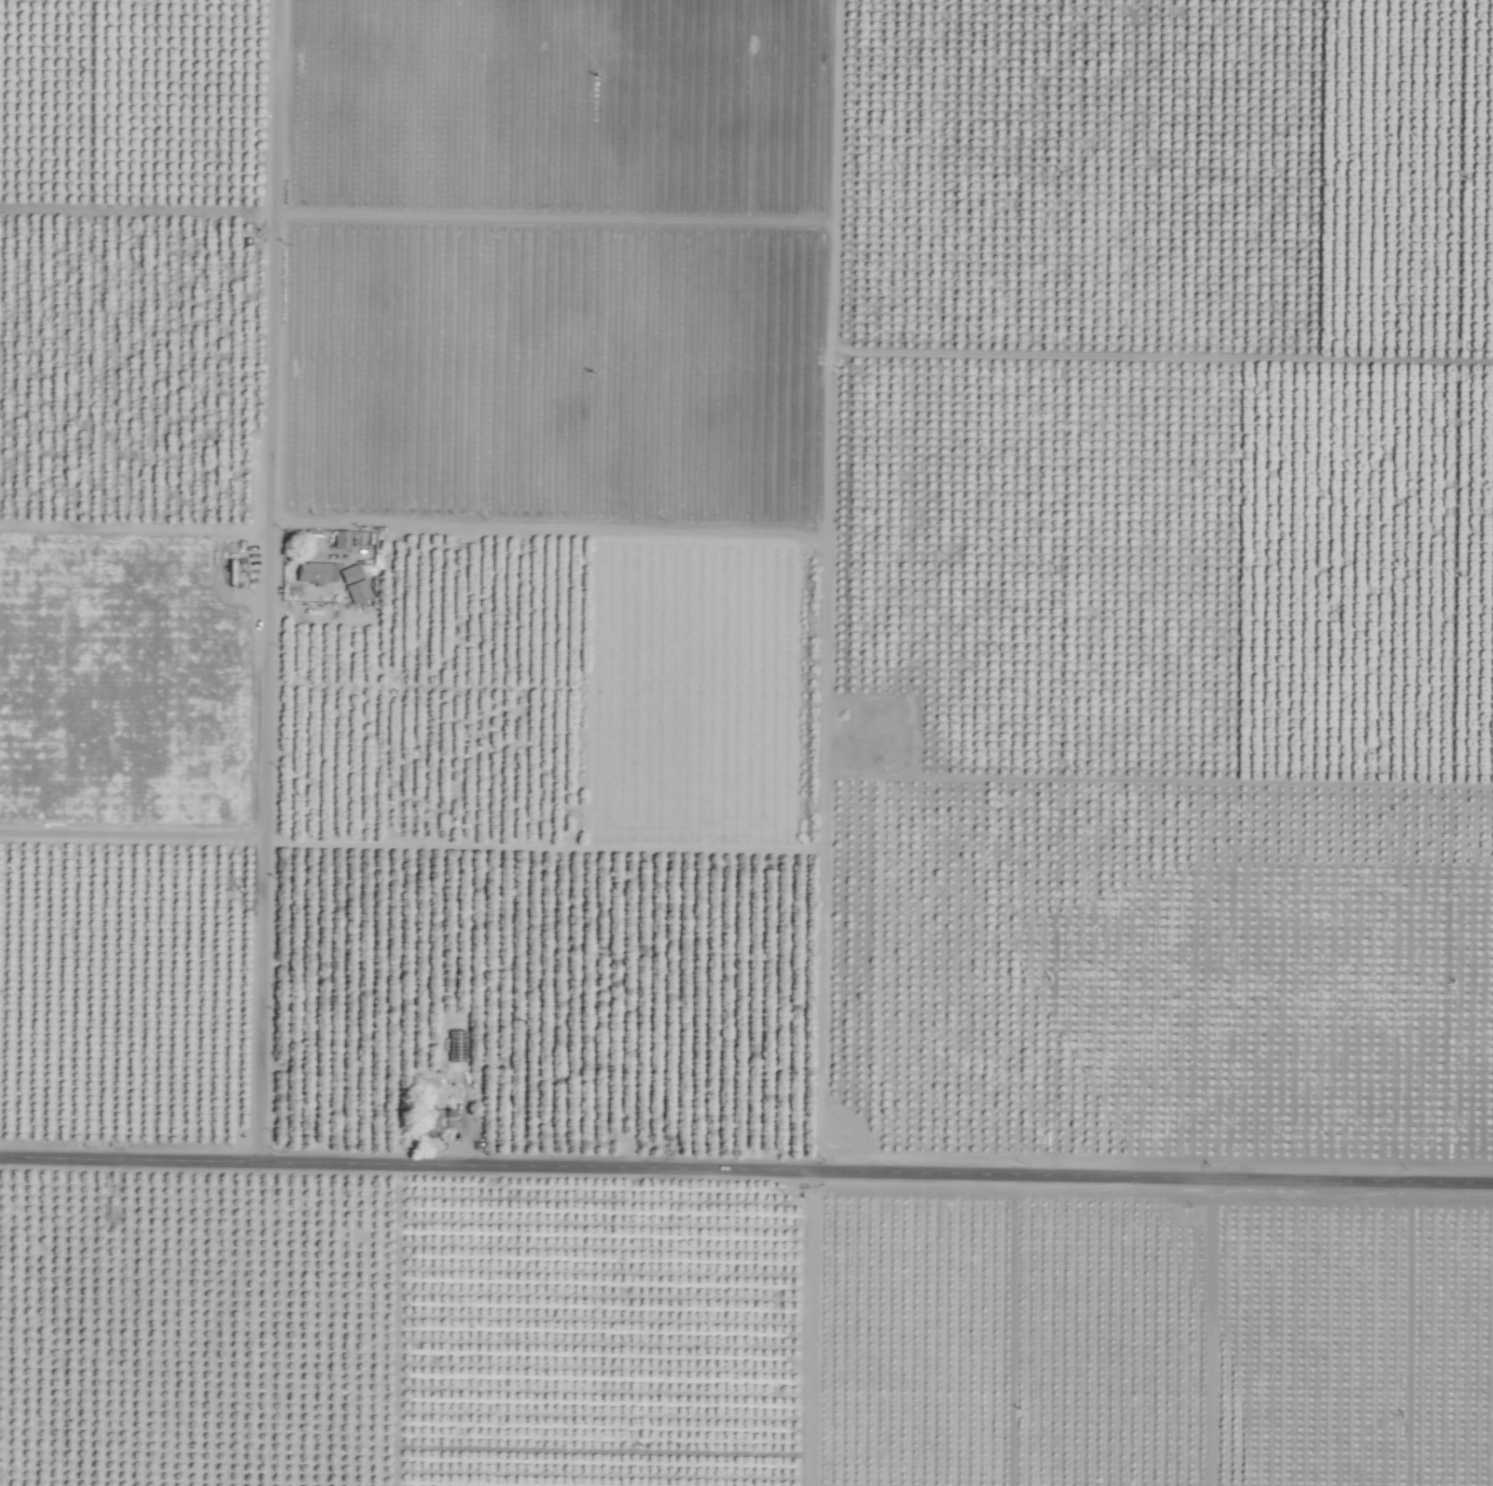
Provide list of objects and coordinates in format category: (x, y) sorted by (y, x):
road: (134, 529)
building: (315, 572)
building: (356, 584)
road: (268, 597)
crop: (746, 743)
building: (434, 1120)
road: (746, 1200)
road: (822, 1343)

